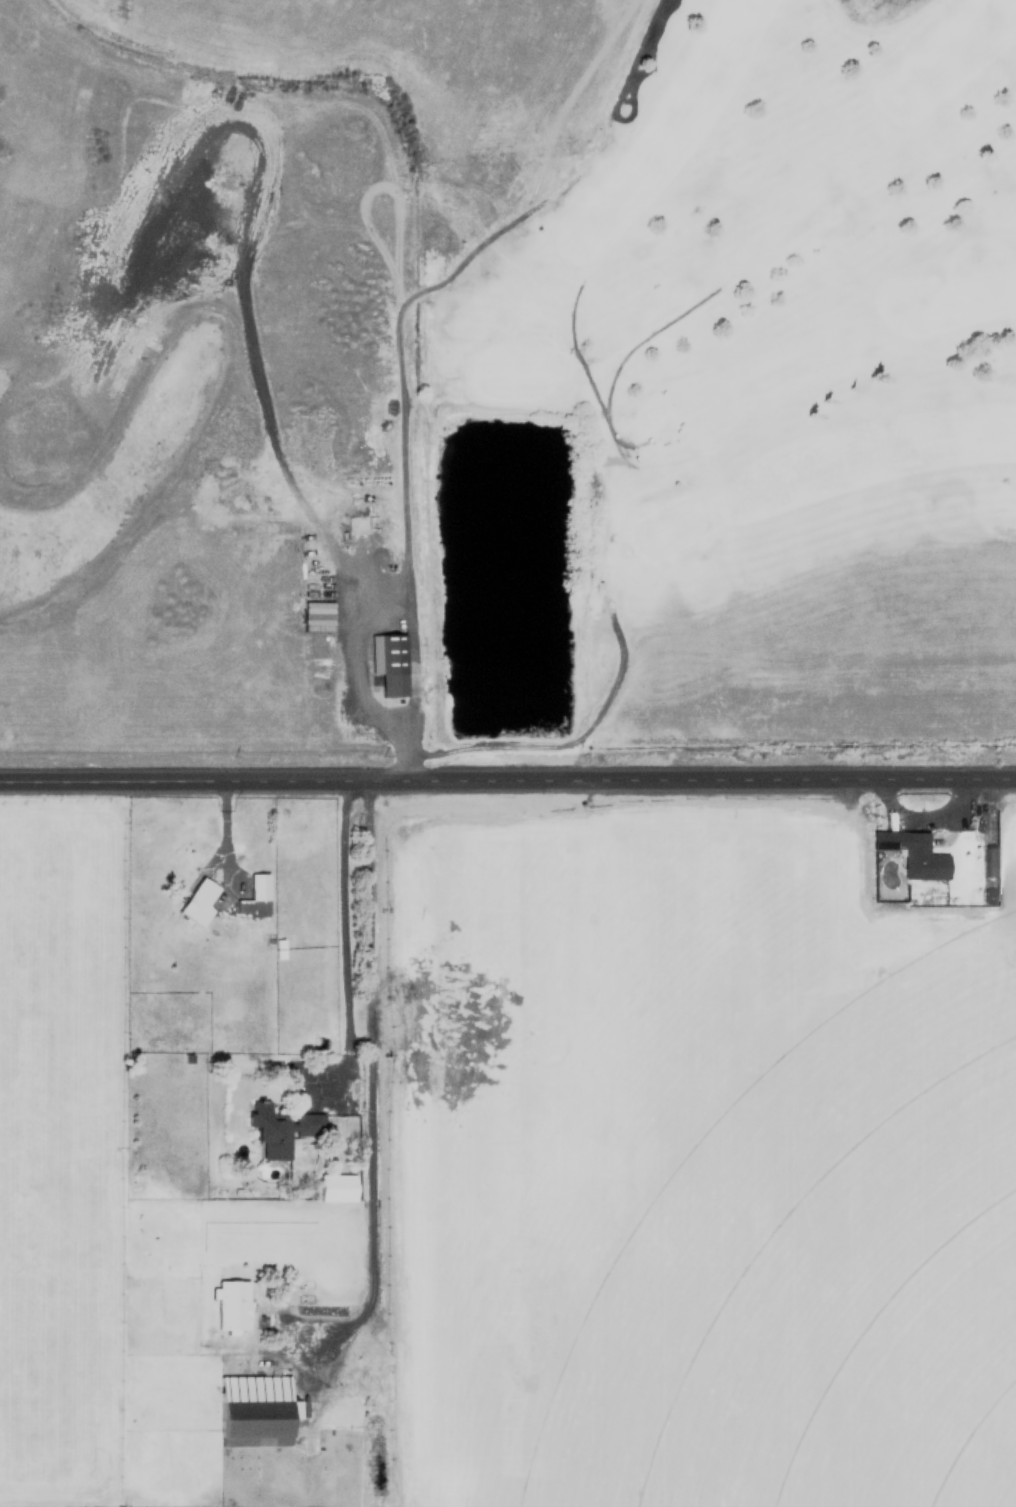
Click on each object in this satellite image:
park: (740, 408)
building: (316, 615)
building: (388, 663)
road: (507, 781)
road: (225, 828)
building: (911, 852)
building: (255, 896)
building: (204, 904)
road: (345, 940)
crop: (594, 1030)
road: (368, 1092)
building: (279, 1128)
building: (335, 1187)
crop: (800, 1260)
building: (230, 1304)
building: (271, 1407)

